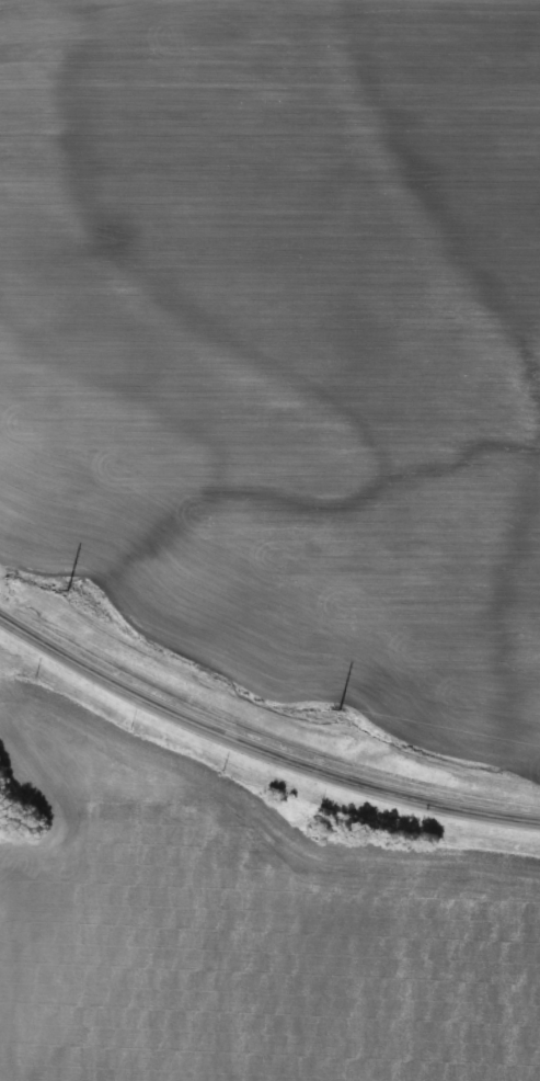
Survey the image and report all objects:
road: (257, 747)

